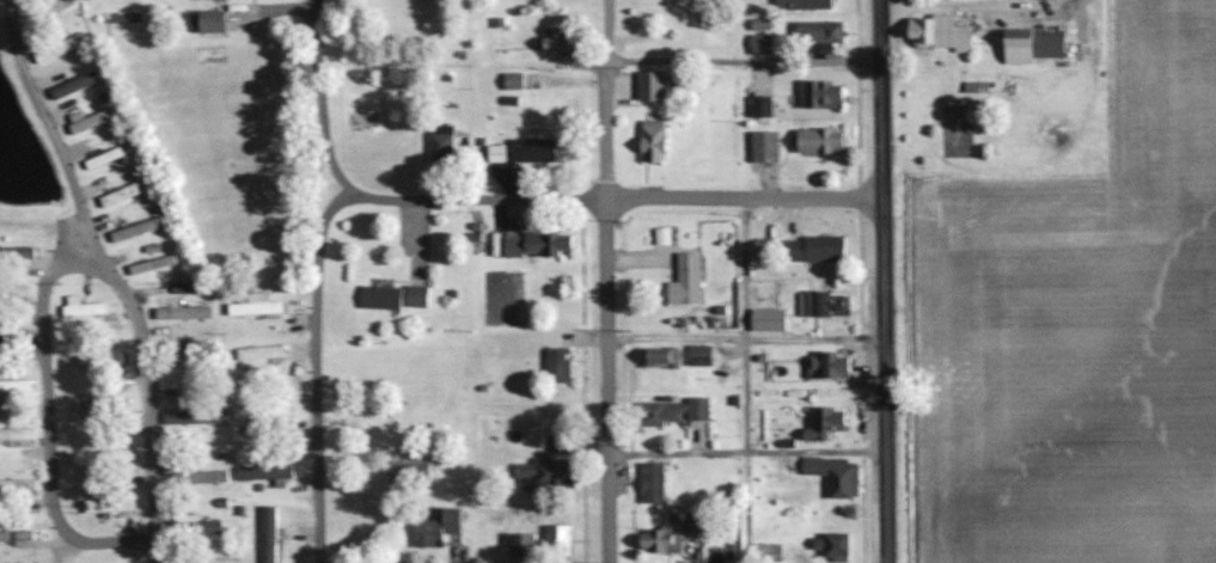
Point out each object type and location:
building: (802, 4)
building: (204, 19)
building: (942, 30)
building: (812, 39)
building: (762, 43)
building: (1031, 44)
building: (648, 84)
building: (814, 92)
road: (320, 97)
building: (760, 106)
building: (90, 121)
building: (650, 140)
building: (818, 140)
building: (441, 142)
building: (764, 146)
building: (519, 151)
building: (102, 157)
building: (122, 192)
road: (616, 198)
building: (135, 228)
building: (536, 241)
building: (813, 247)
building: (16, 255)
building: (151, 264)
road: (116, 274)
building: (686, 276)
road: (605, 281)
road: (882, 281)
building: (13, 289)
building: (392, 295)
building: (823, 301)
building: (81, 306)
building: (252, 306)
building: (765, 318)
building: (188, 344)
building: (258, 351)
building: (697, 354)
building: (660, 356)
building: (98, 359)
building: (556, 363)
building: (825, 363)
road: (316, 368)
building: (14, 384)
building: (100, 404)
building: (259, 410)
building: (434, 410)
building: (672, 410)
building: (194, 415)
road: (44, 421)
building: (16, 432)
building: (100, 455)
building: (550, 467)
building: (833, 473)
building: (202, 476)
building: (652, 481)
building: (18, 484)
building: (106, 503)
building: (201, 520)
building: (434, 527)
building: (19, 534)
building: (267, 536)
building: (560, 538)
building: (658, 538)
building: (520, 541)
building: (833, 545)
building: (766, 552)

